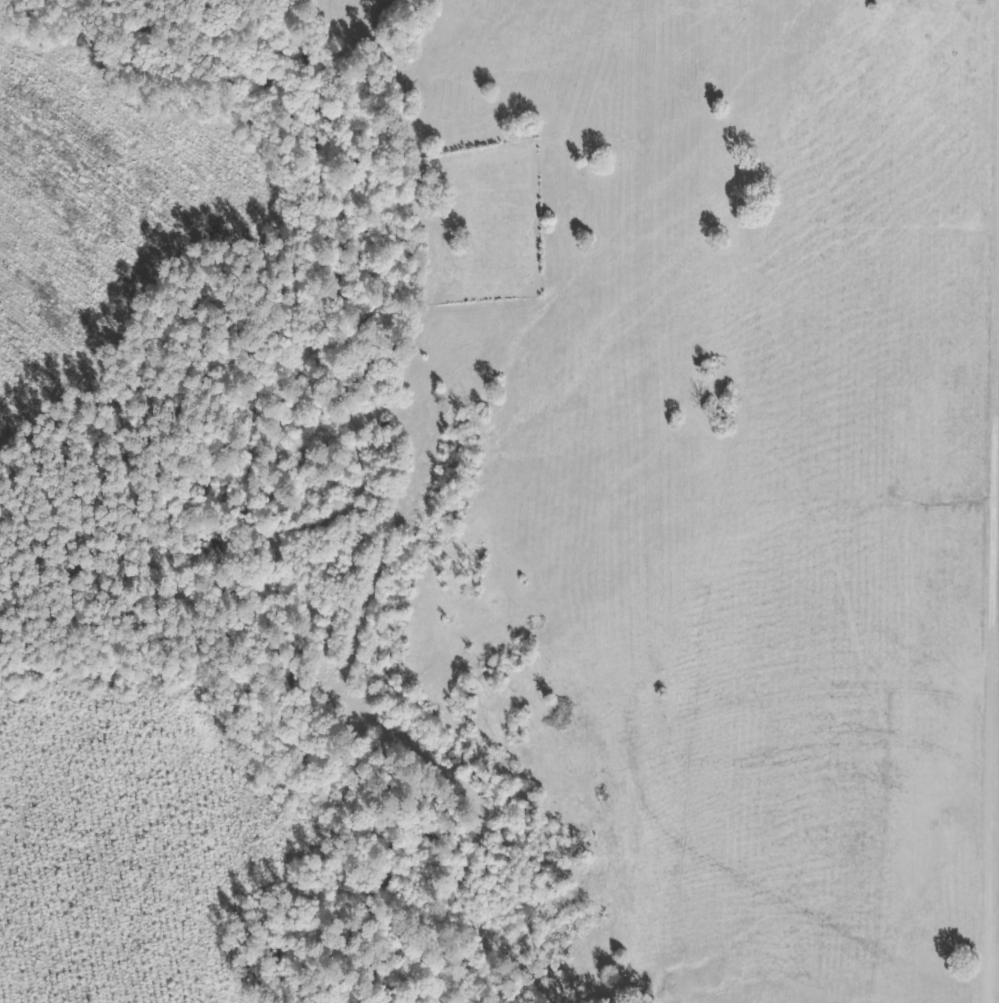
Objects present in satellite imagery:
road: (980, 536)

